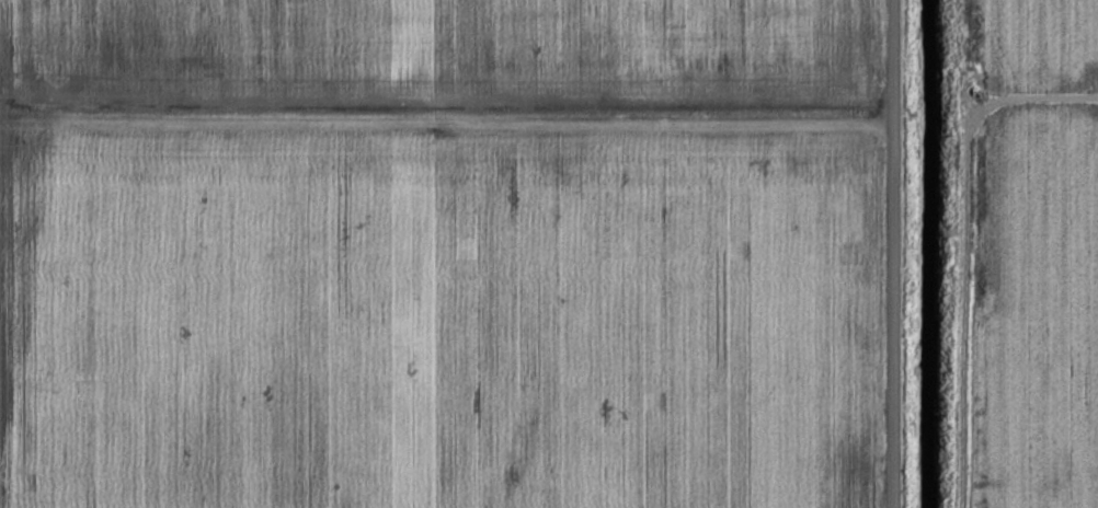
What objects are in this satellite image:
road: (892, 254)

